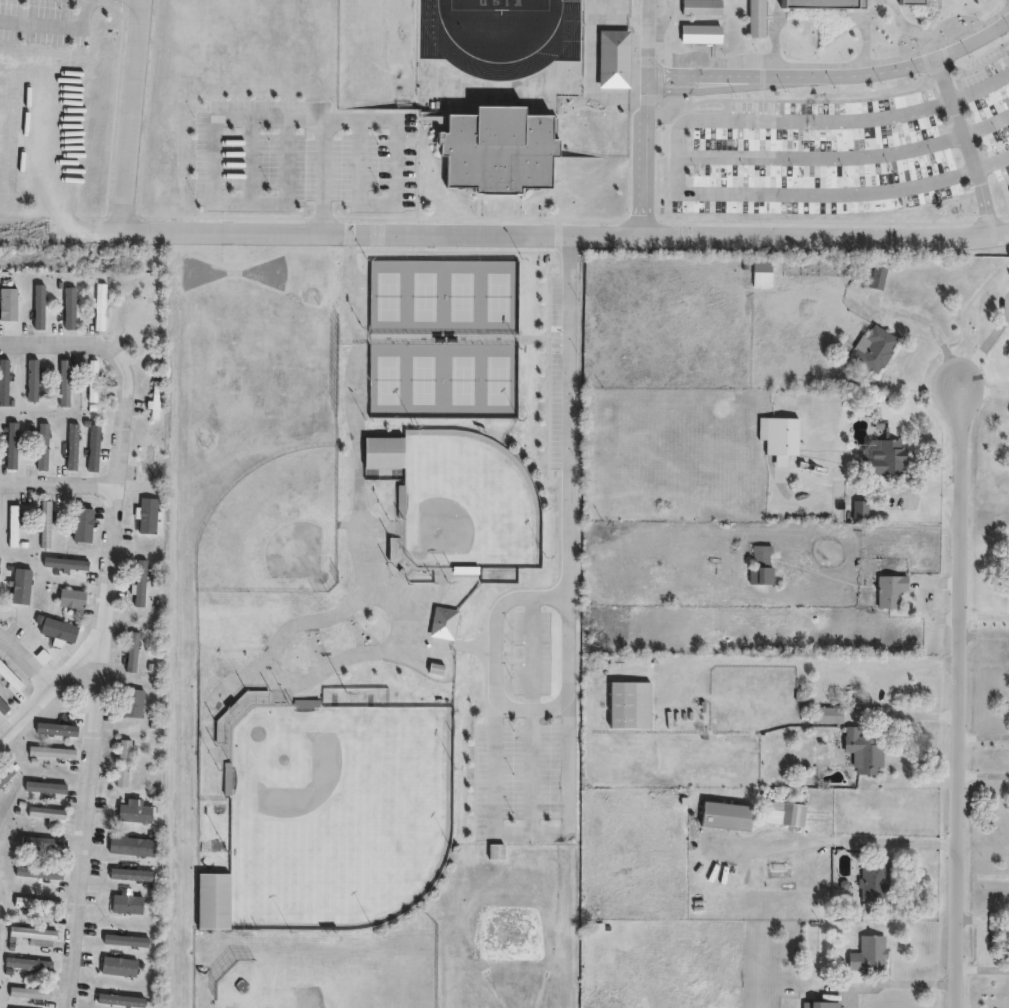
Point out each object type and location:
building: (855, 3)
park: (499, 4)
road: (52, 25)
track: (433, 37)
building: (611, 59)
road: (830, 75)
road: (130, 117)
road: (287, 119)
road: (639, 119)
road: (965, 147)
parking lot: (842, 150)
building: (495, 151)
parking lot: (301, 156)
road: (846, 157)
road: (676, 158)
road: (250, 159)
building: (696, 162)
building: (742, 162)
road: (321, 177)
road: (46, 183)
building: (696, 188)
building: (742, 189)
building: (1008, 191)
road: (552, 237)
building: (758, 268)
building: (873, 272)
building: (8, 304)
building: (38, 306)
building: (100, 308)
road: (928, 330)
park: (442, 336)
road: (69, 343)
building: (872, 345)
building: (3, 381)
building: (62, 384)
building: (90, 386)
building: (153, 401)
building: (777, 434)
building: (9, 447)
building: (40, 447)
building: (75, 449)
building: (91, 449)
building: (882, 453)
building: (379, 454)
building: (1008, 463)
building: (152, 465)
road: (58, 483)
building: (856, 506)
building: (145, 516)
building: (10, 523)
building: (86, 523)
building: (43, 526)
building: (757, 558)
building: (64, 563)
building: (138, 585)
building: (887, 587)
building: (17, 589)
building: (70, 601)
building: (450, 614)
road: (985, 616)
building: (132, 652)
road: (26, 658)
building: (542, 664)
building: (10, 677)
road: (52, 679)
road: (98, 689)
road: (962, 699)
building: (131, 704)
building: (629, 705)
building: (2, 711)
road: (530, 711)
building: (824, 711)
road: (565, 715)
road: (916, 716)
building: (496, 726)
building: (860, 747)
building: (51, 754)
building: (123, 765)
building: (8, 775)
building: (782, 810)
building: (721, 813)
building: (46, 816)
road: (839, 841)
building: (49, 844)
building: (135, 846)
building: (495, 851)
building: (42, 873)
building: (134, 875)
building: (871, 878)
building: (209, 902)
building: (37, 906)
building: (124, 906)
building: (0, 908)
building: (32, 935)
building: (125, 940)
building: (866, 951)
building: (31, 965)
building: (122, 968)
road: (903, 983)
building: (29, 995)
building: (125, 1001)
building: (812, 1003)

